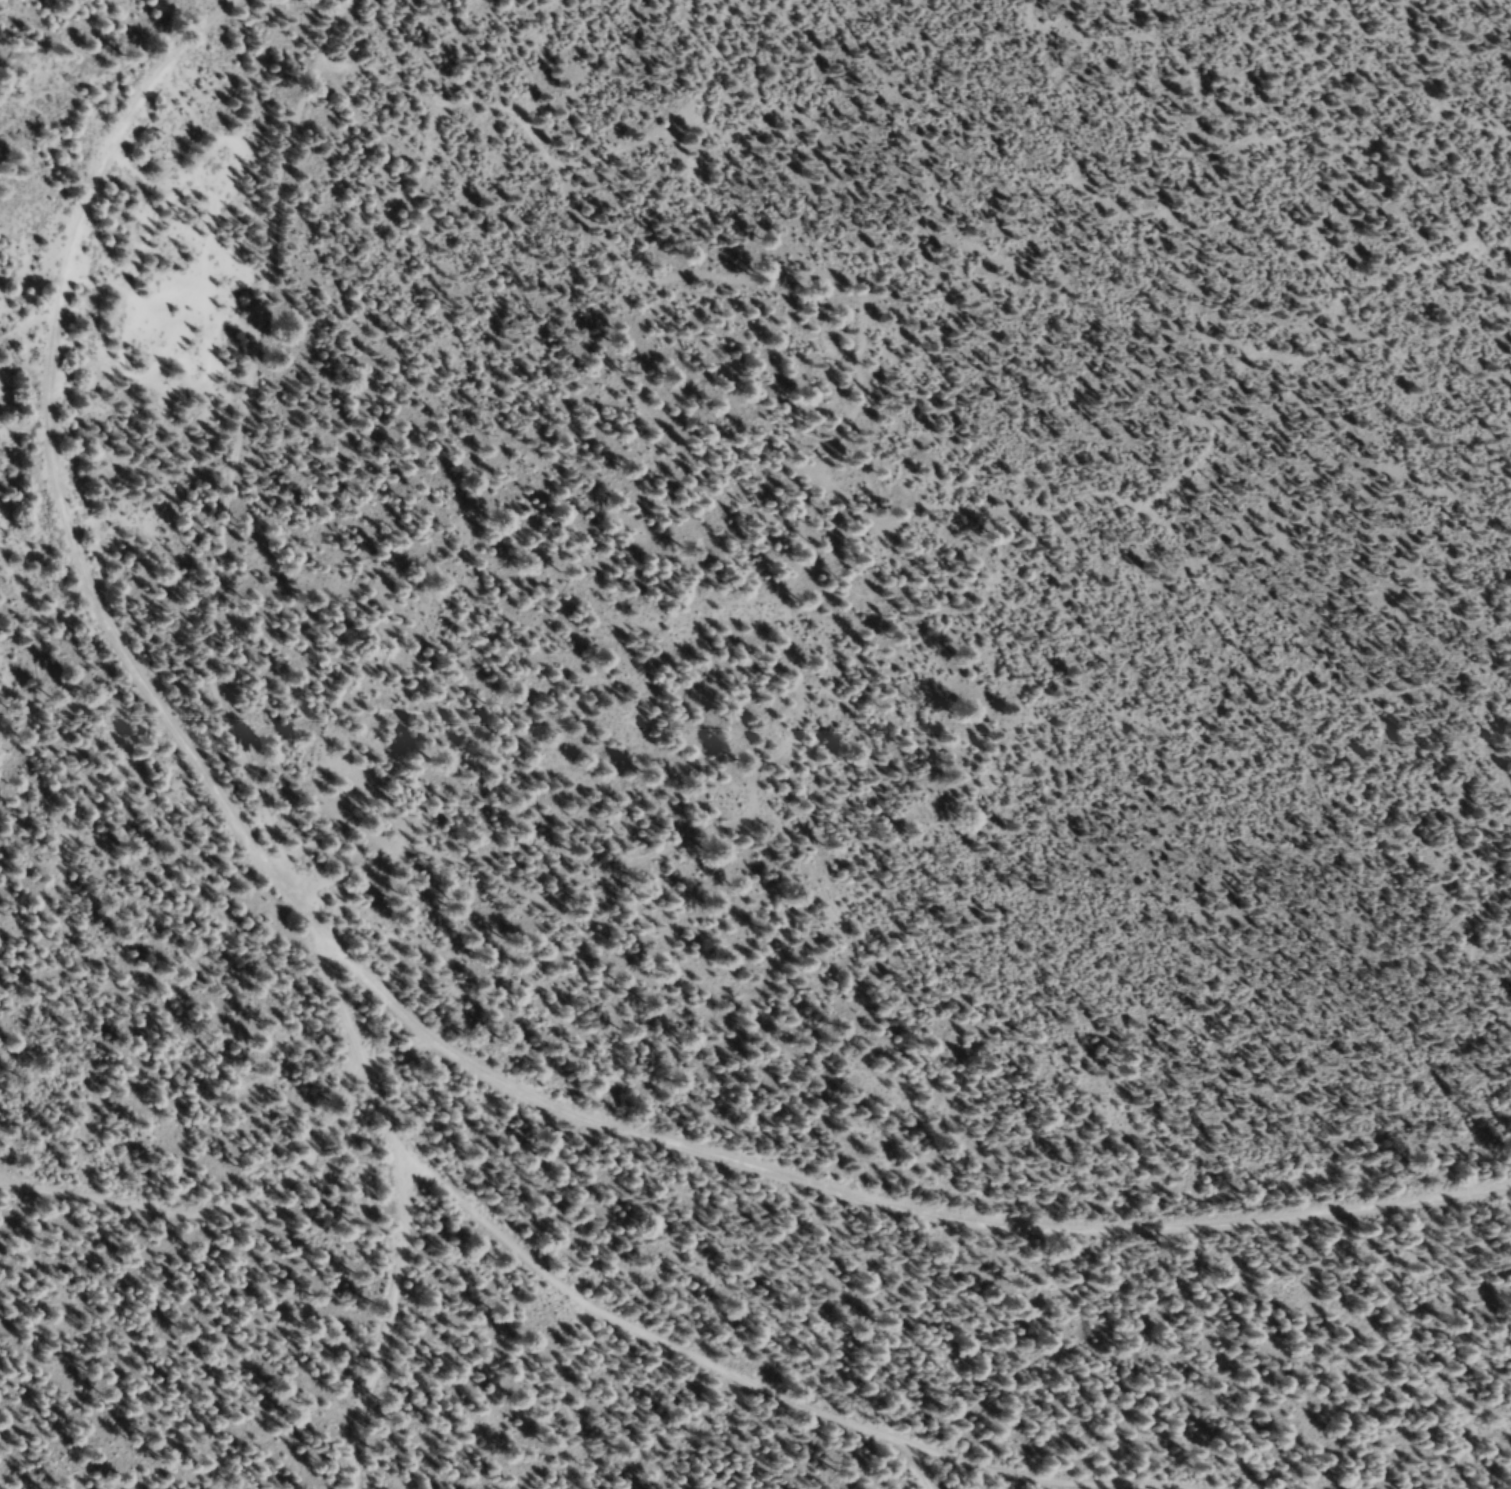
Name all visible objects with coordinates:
road: (235, 455)
road: (394, 1000)
road: (409, 1195)
road: (217, 1207)
road: (719, 1373)

